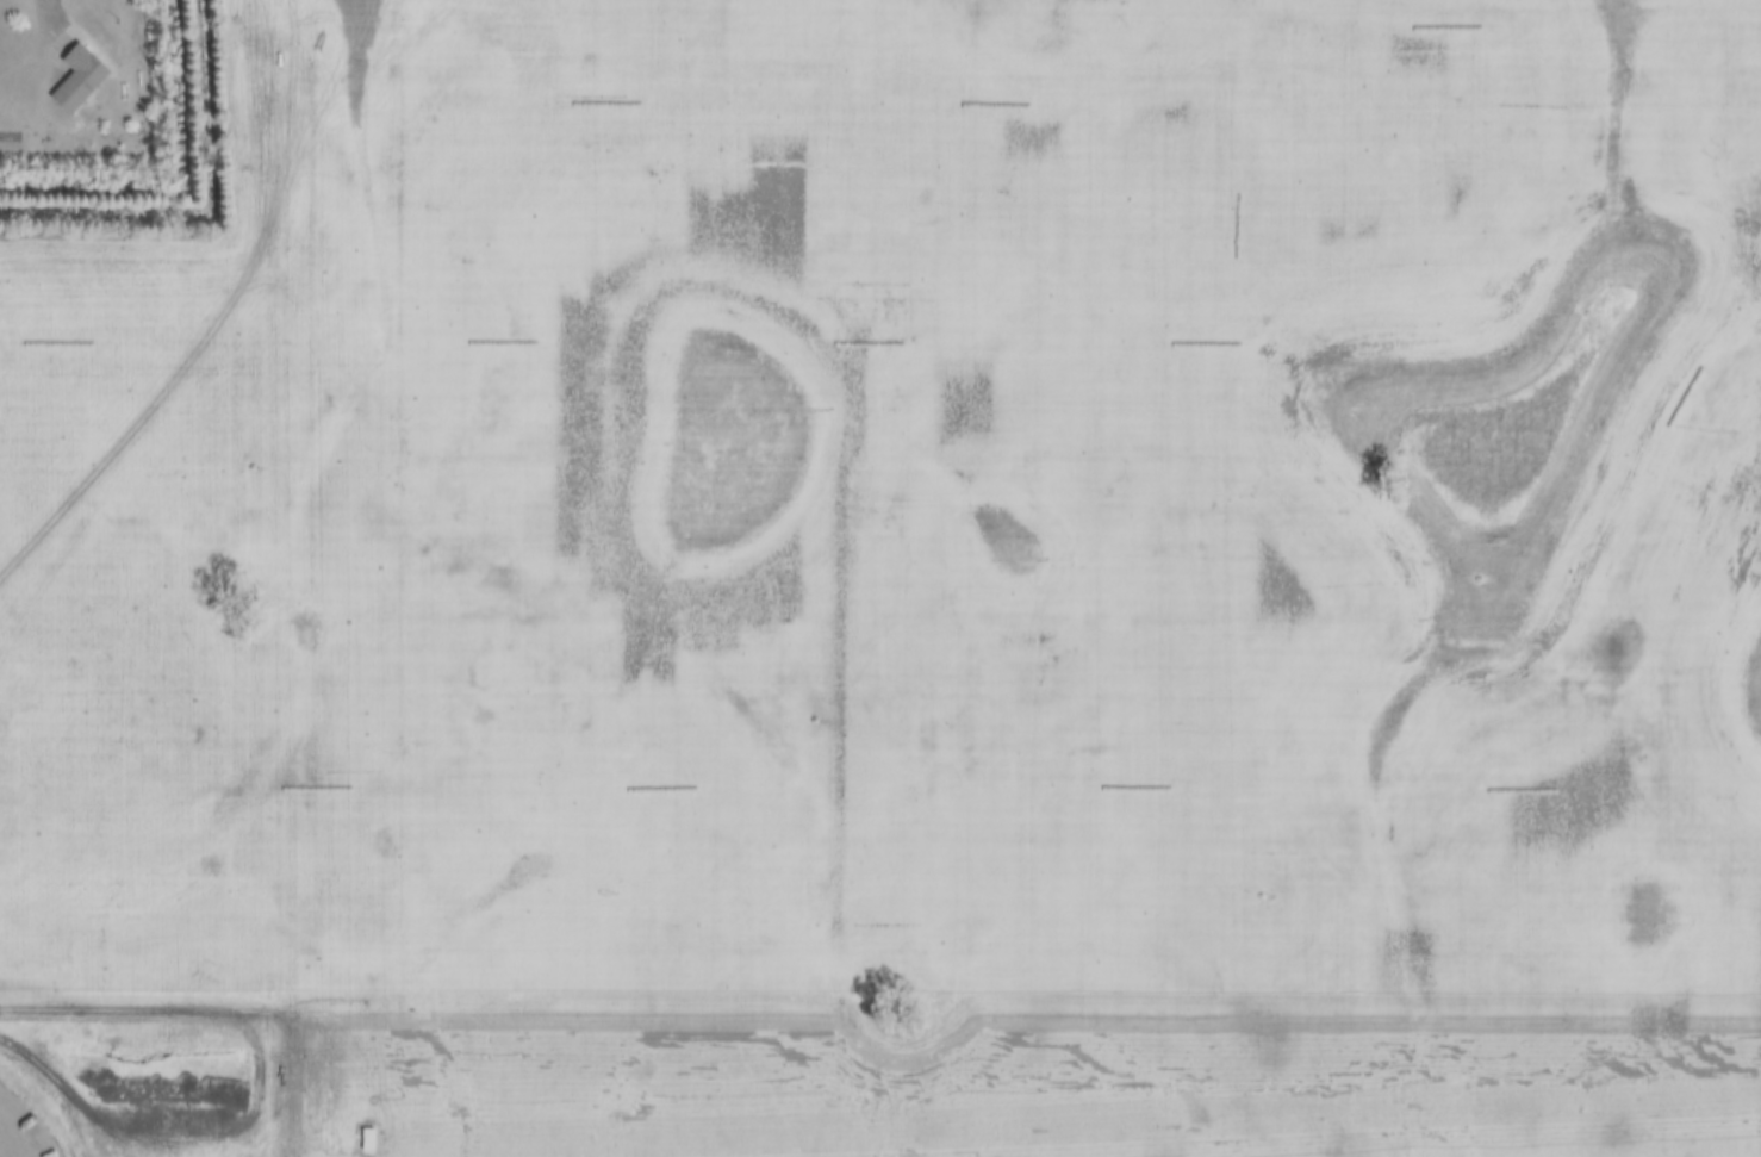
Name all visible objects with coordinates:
road: (81, 36)
building: (77, 80)

